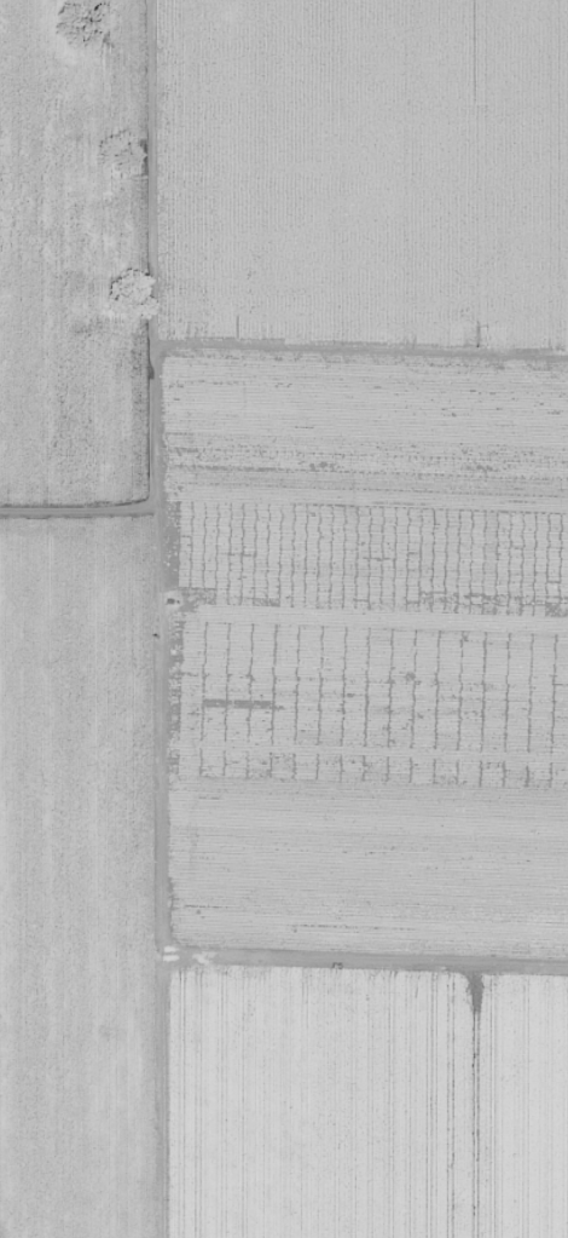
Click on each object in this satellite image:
road: (88, 526)
road: (175, 618)

